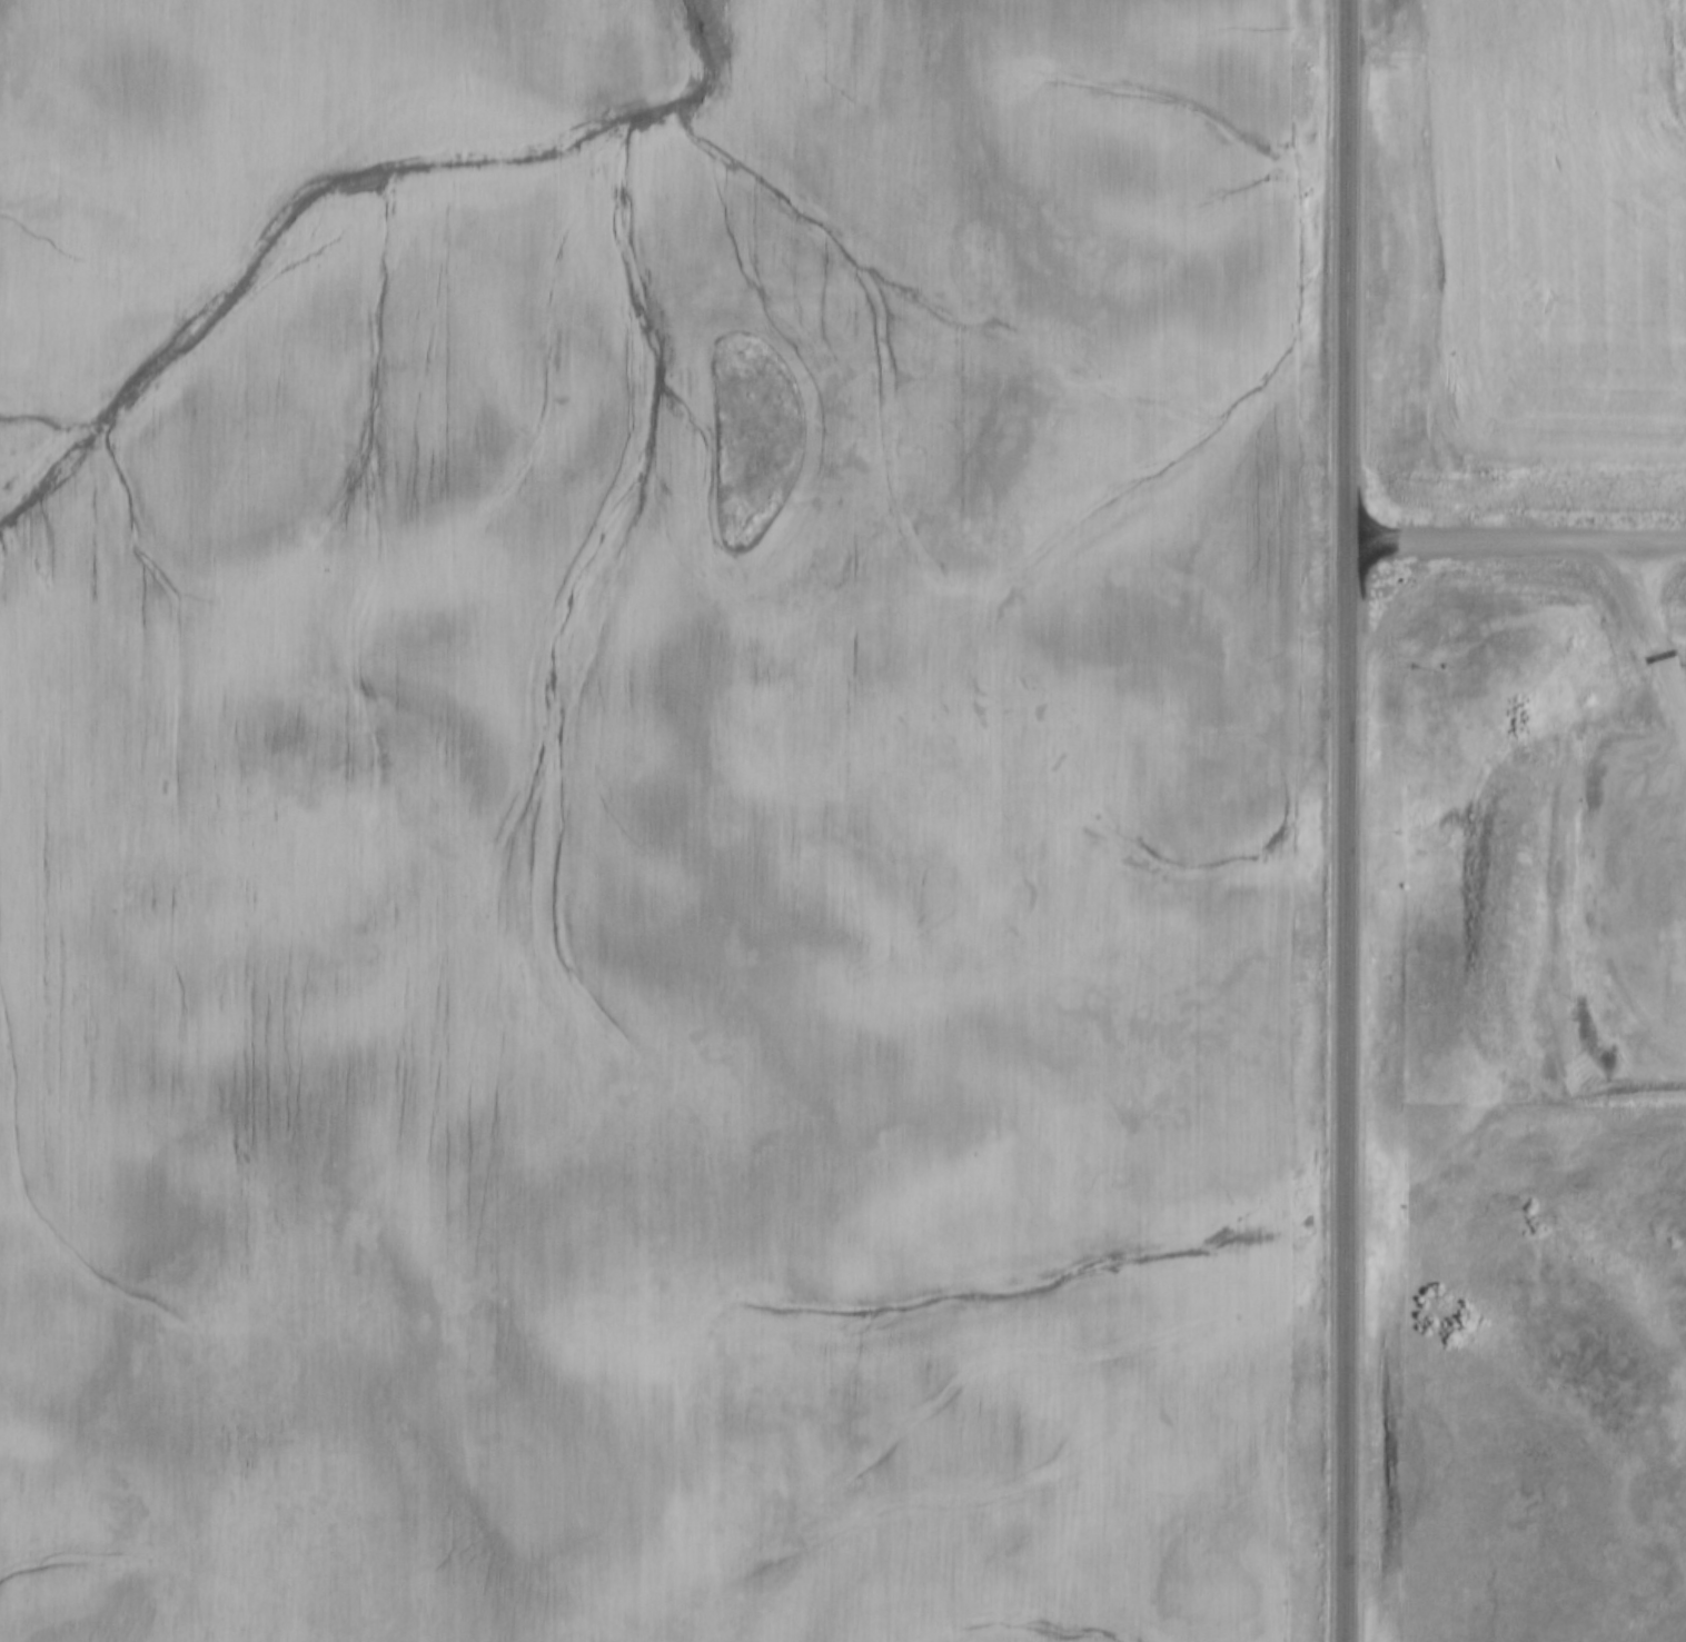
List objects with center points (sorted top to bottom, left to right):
road: (1587, 540)
road: (1637, 541)
road: (1340, 820)

